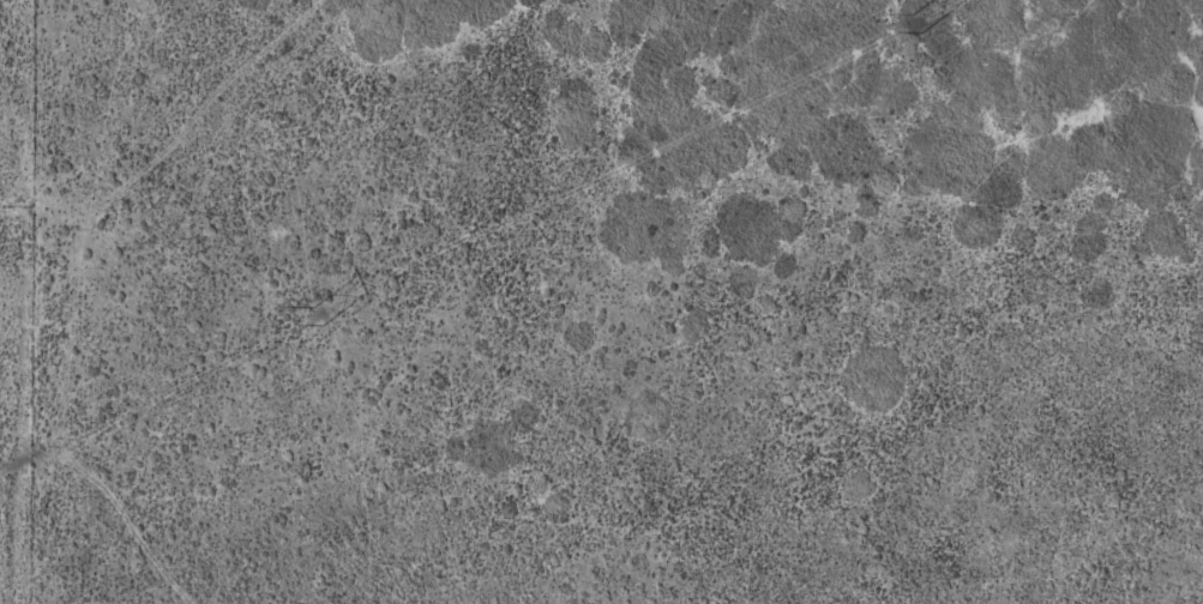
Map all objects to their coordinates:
power tower: (916, 20)
power tower: (318, 313)

